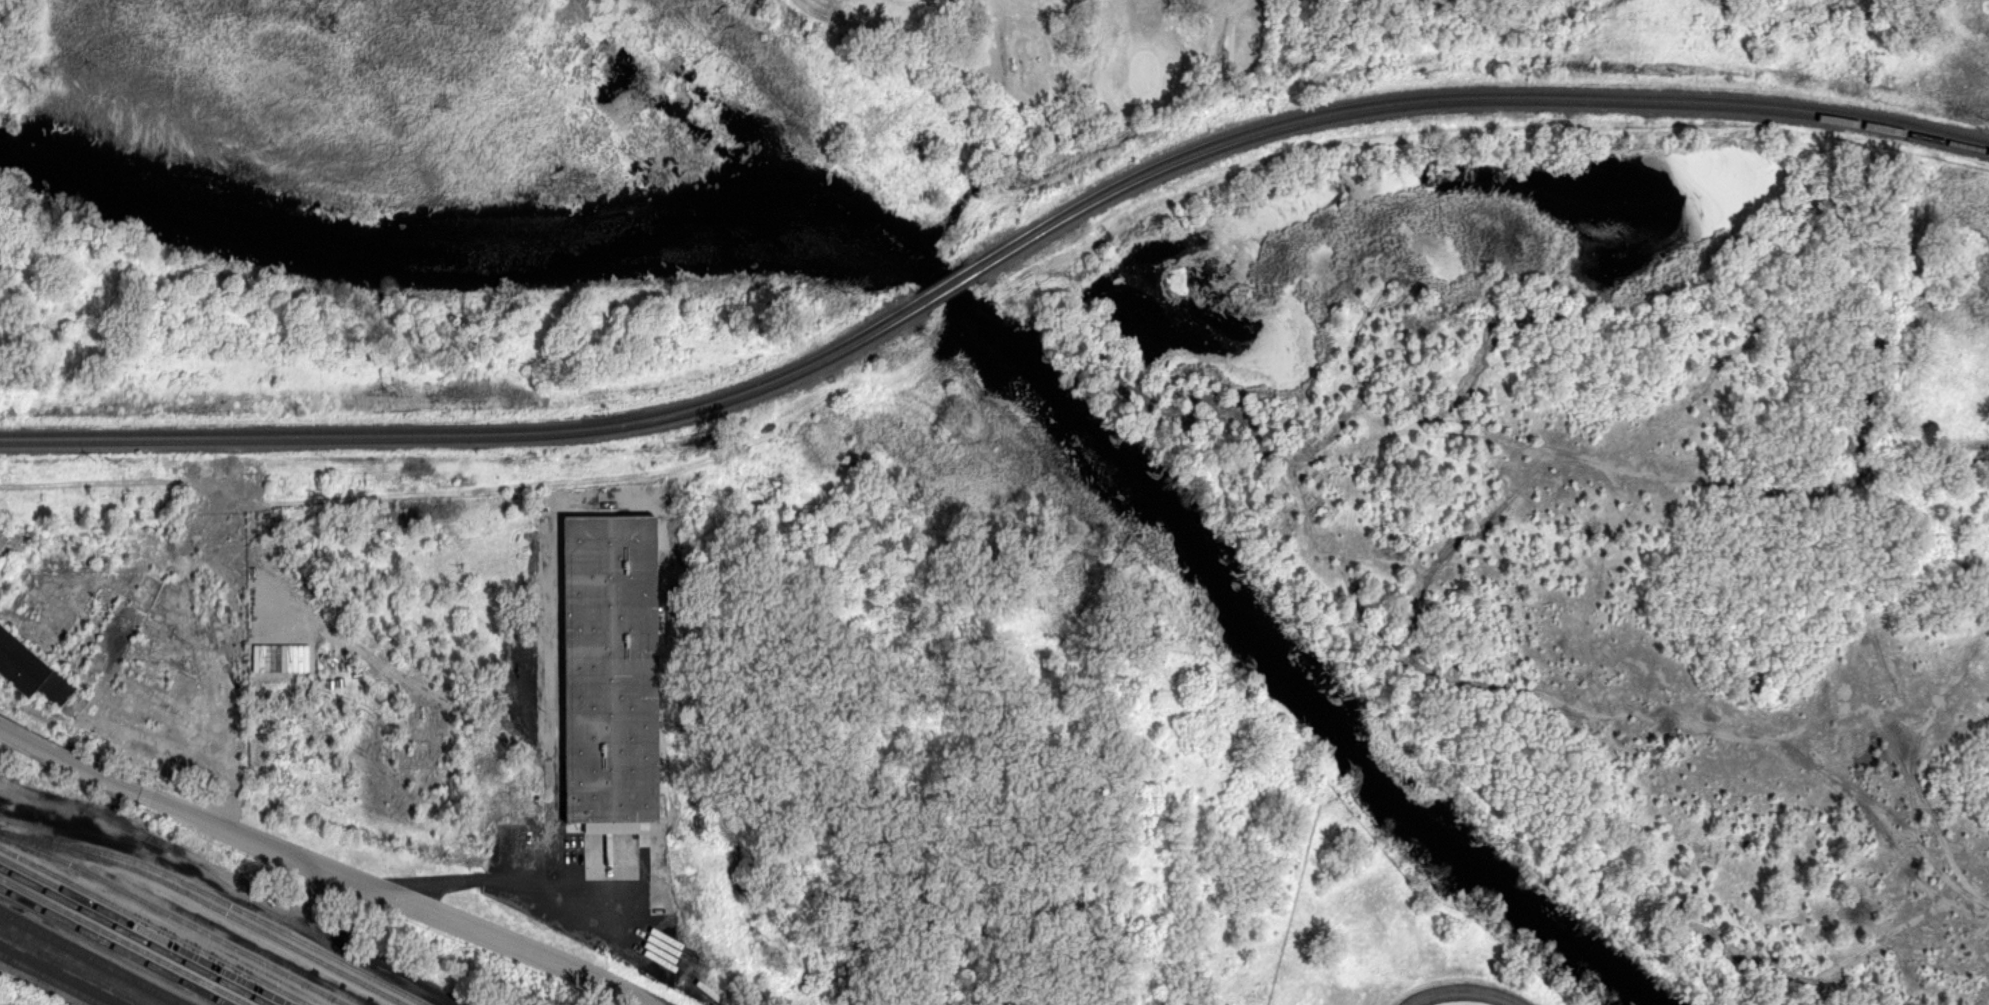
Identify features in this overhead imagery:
road: (1224, 31)
road: (1006, 56)
park: (1293, 69)
park: (1144, 71)
railway: (1461, 92)
railway: (1464, 101)
railway: (942, 284)
river: (952, 284)
railway: (950, 291)
railway: (471, 431)
railway: (476, 439)
road: (50, 753)
road: (526, 882)
road: (376, 890)
railway: (219, 899)
railway: (207, 904)
road: (604, 911)
railway: (175, 916)
railway: (153, 926)
railway: (144, 931)
railway: (134, 936)
railway: (124, 941)
railway: (114, 946)
railway: (91, 958)
railway: (82, 962)
railway: (71, 968)
railway: (52, 979)
road: (1463, 990)

